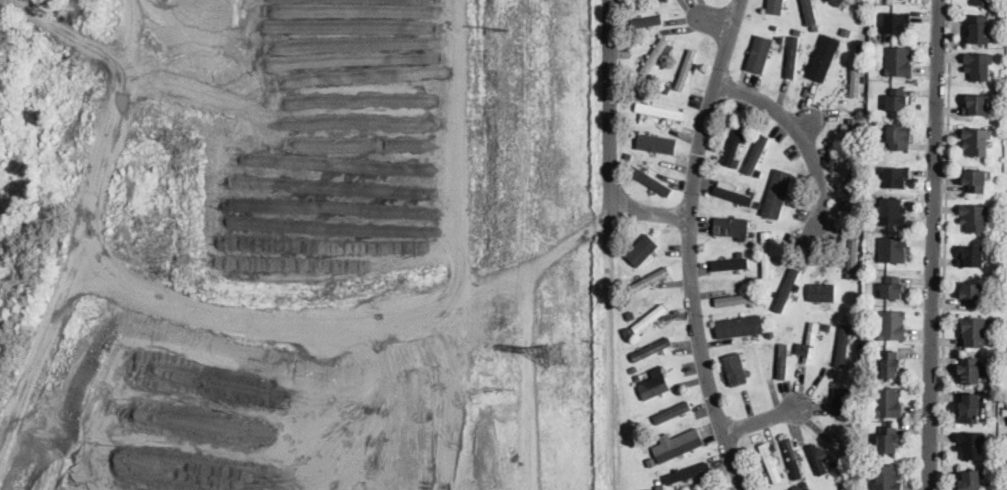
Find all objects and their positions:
building: (666, 0)
building: (630, 2)
building: (838, 2)
building: (984, 2)
building: (776, 9)
building: (809, 11)
building: (1002, 14)
building: (647, 20)
building: (896, 25)
building: (774, 26)
power tower: (503, 28)
building: (981, 29)
building: (780, 39)
building: (861, 46)
building: (759, 53)
building: (656, 56)
building: (792, 56)
building: (824, 57)
building: (899, 62)
building: (980, 67)
building: (687, 68)
building: (855, 76)
building: (666, 87)
building: (637, 91)
building: (898, 100)
building: (978, 105)
building: (659, 110)
road: (608, 115)
building: (1001, 127)
road: (800, 138)
building: (899, 138)
building: (852, 139)
building: (978, 141)
building: (735, 143)
road: (104, 144)
building: (652, 144)
building: (757, 153)
building: (628, 155)
building: (736, 162)
building: (896, 177)
building: (650, 180)
building: (976, 181)
building: (732, 192)
building: (777, 192)
building: (850, 193)
building: (757, 203)
road: (649, 209)
building: (892, 213)
building: (975, 217)
building: (732, 227)
building: (752, 233)
building: (629, 235)
road: (931, 244)
landfill: (294, 245)
road: (945, 245)
road: (689, 246)
building: (642, 249)
building: (893, 250)
building: (766, 253)
building: (972, 257)
building: (852, 259)
building: (749, 262)
building: (727, 264)
building: (650, 280)
building: (757, 285)
building: (893, 288)
building: (788, 290)
building: (822, 291)
building: (973, 294)
building: (737, 298)
building: (631, 314)
road: (261, 318)
building: (647, 322)
building: (825, 326)
building: (893, 326)
building: (740, 327)
building: (975, 332)
building: (769, 334)
building: (810, 342)
building: (843, 345)
building: (651, 348)
power tower: (550, 353)
road: (608, 360)
building: (782, 360)
building: (890, 365)
building: (633, 368)
building: (736, 370)
building: (748, 371)
building: (971, 371)
building: (637, 376)
building: (654, 383)
power tower: (502, 388)
building: (855, 403)
building: (889, 403)
building: (840, 407)
building: (970, 408)
building: (673, 411)
road: (763, 419)
building: (889, 439)
building: (679, 445)
building: (972, 445)
building: (773, 446)
building: (792, 459)
building: (816, 459)
building: (770, 463)
building: (831, 463)
building: (687, 472)
building: (889, 478)
building: (971, 480)
building: (846, 483)
building: (805, 484)
building: (660, 487)
building: (809, 489)

